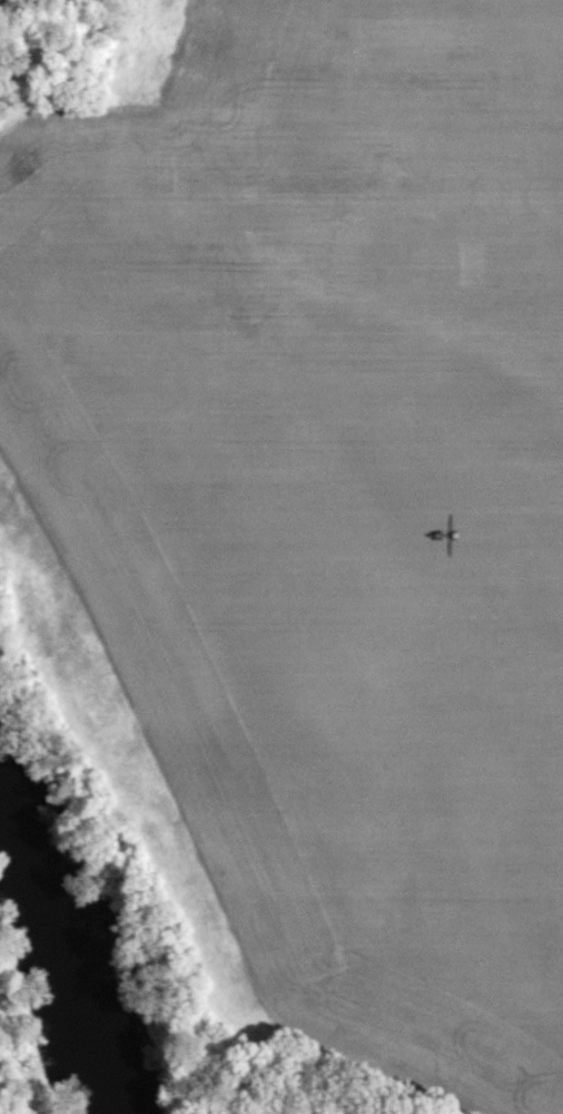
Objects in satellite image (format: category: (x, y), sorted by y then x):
river: (81, 954)

